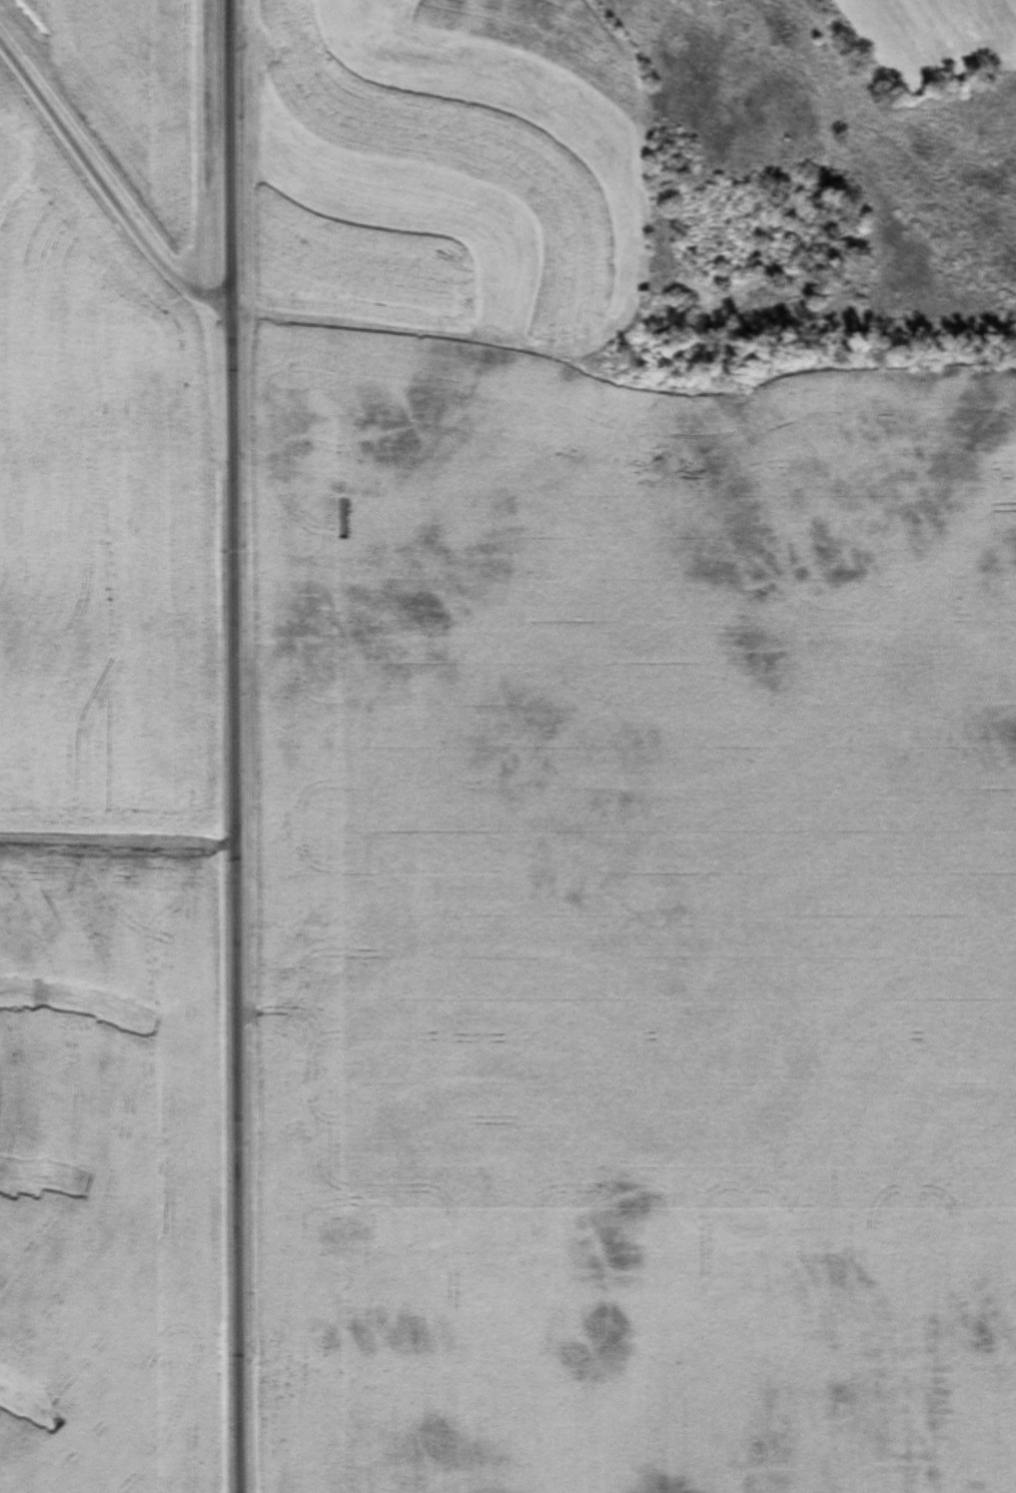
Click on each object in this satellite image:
road: (109, 215)
road: (218, 746)

